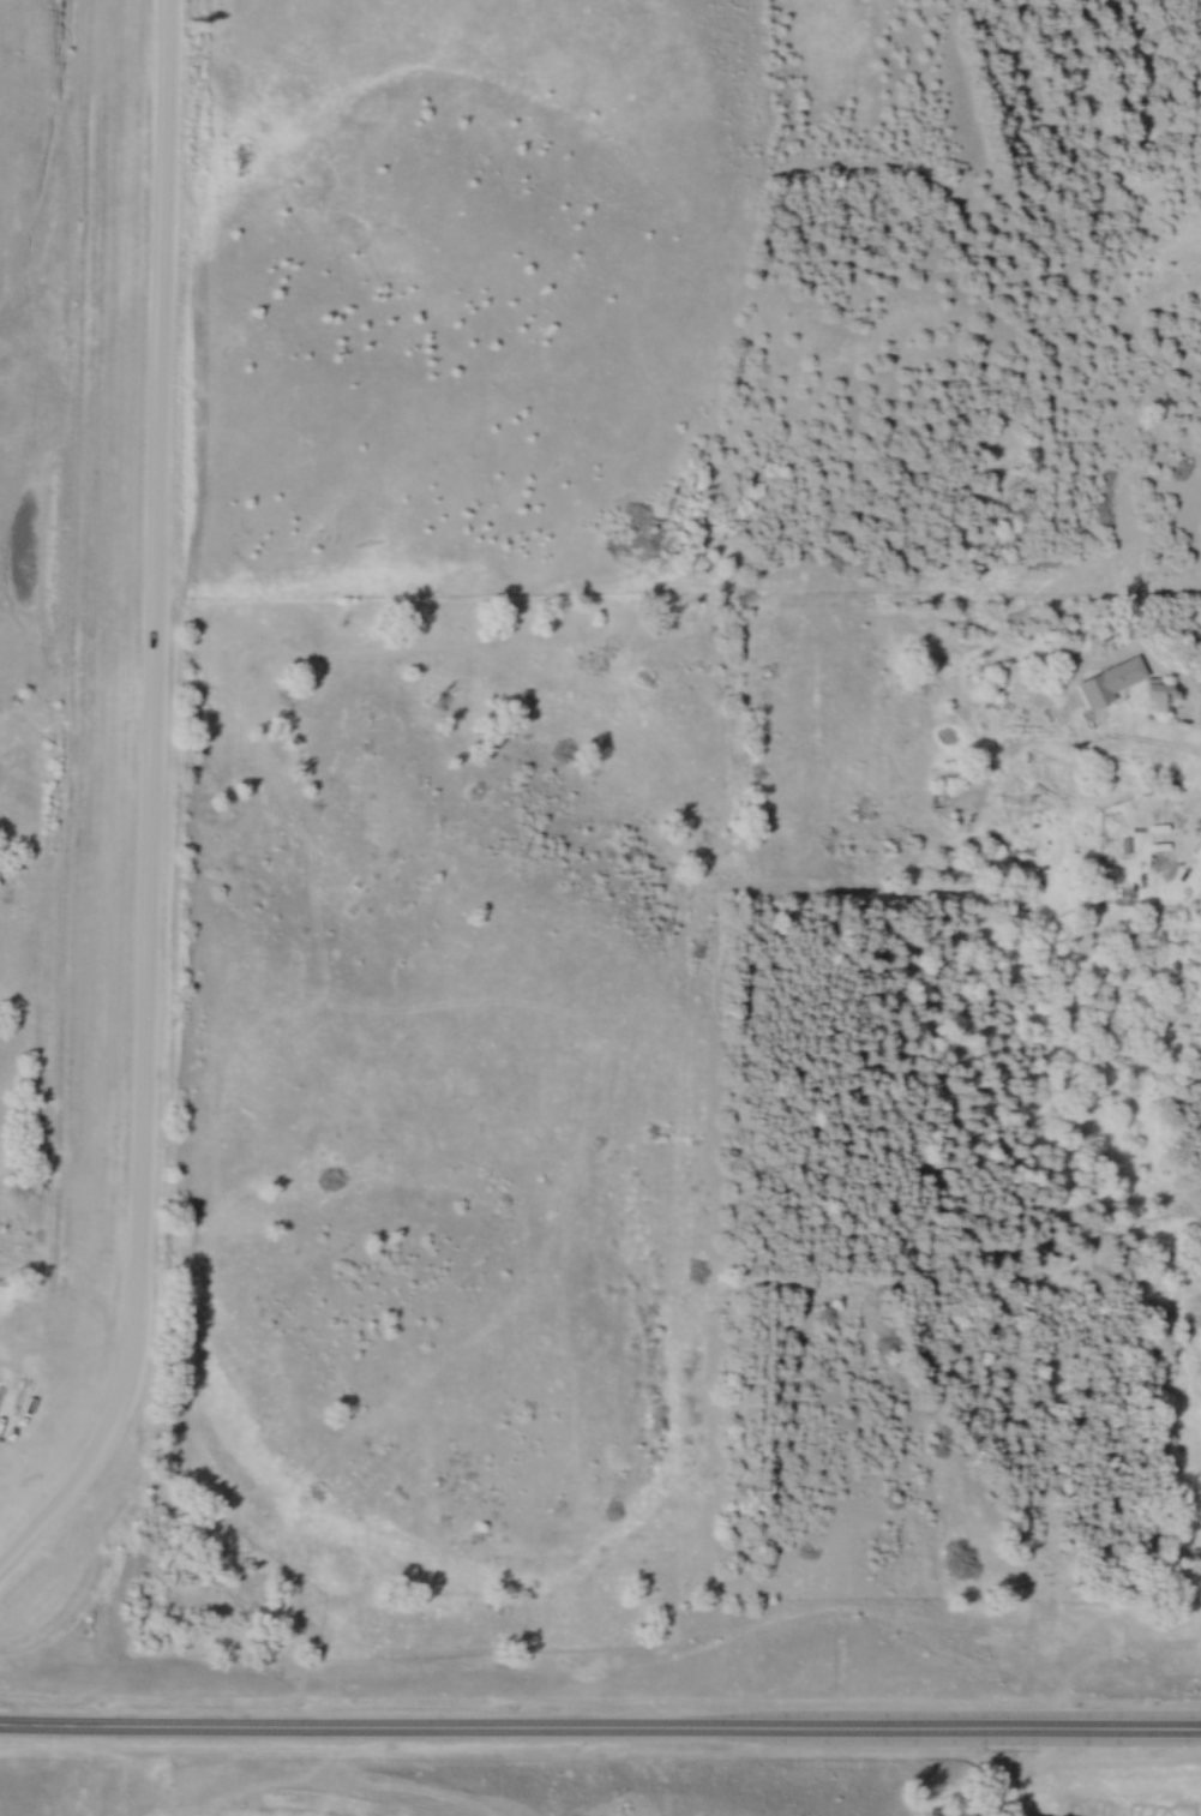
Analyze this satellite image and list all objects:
building: (1107, 683)
building: (1154, 699)
road: (1195, 730)
road: (148, 801)
building: (250, 1586)
road: (72, 1725)
road: (673, 1726)

